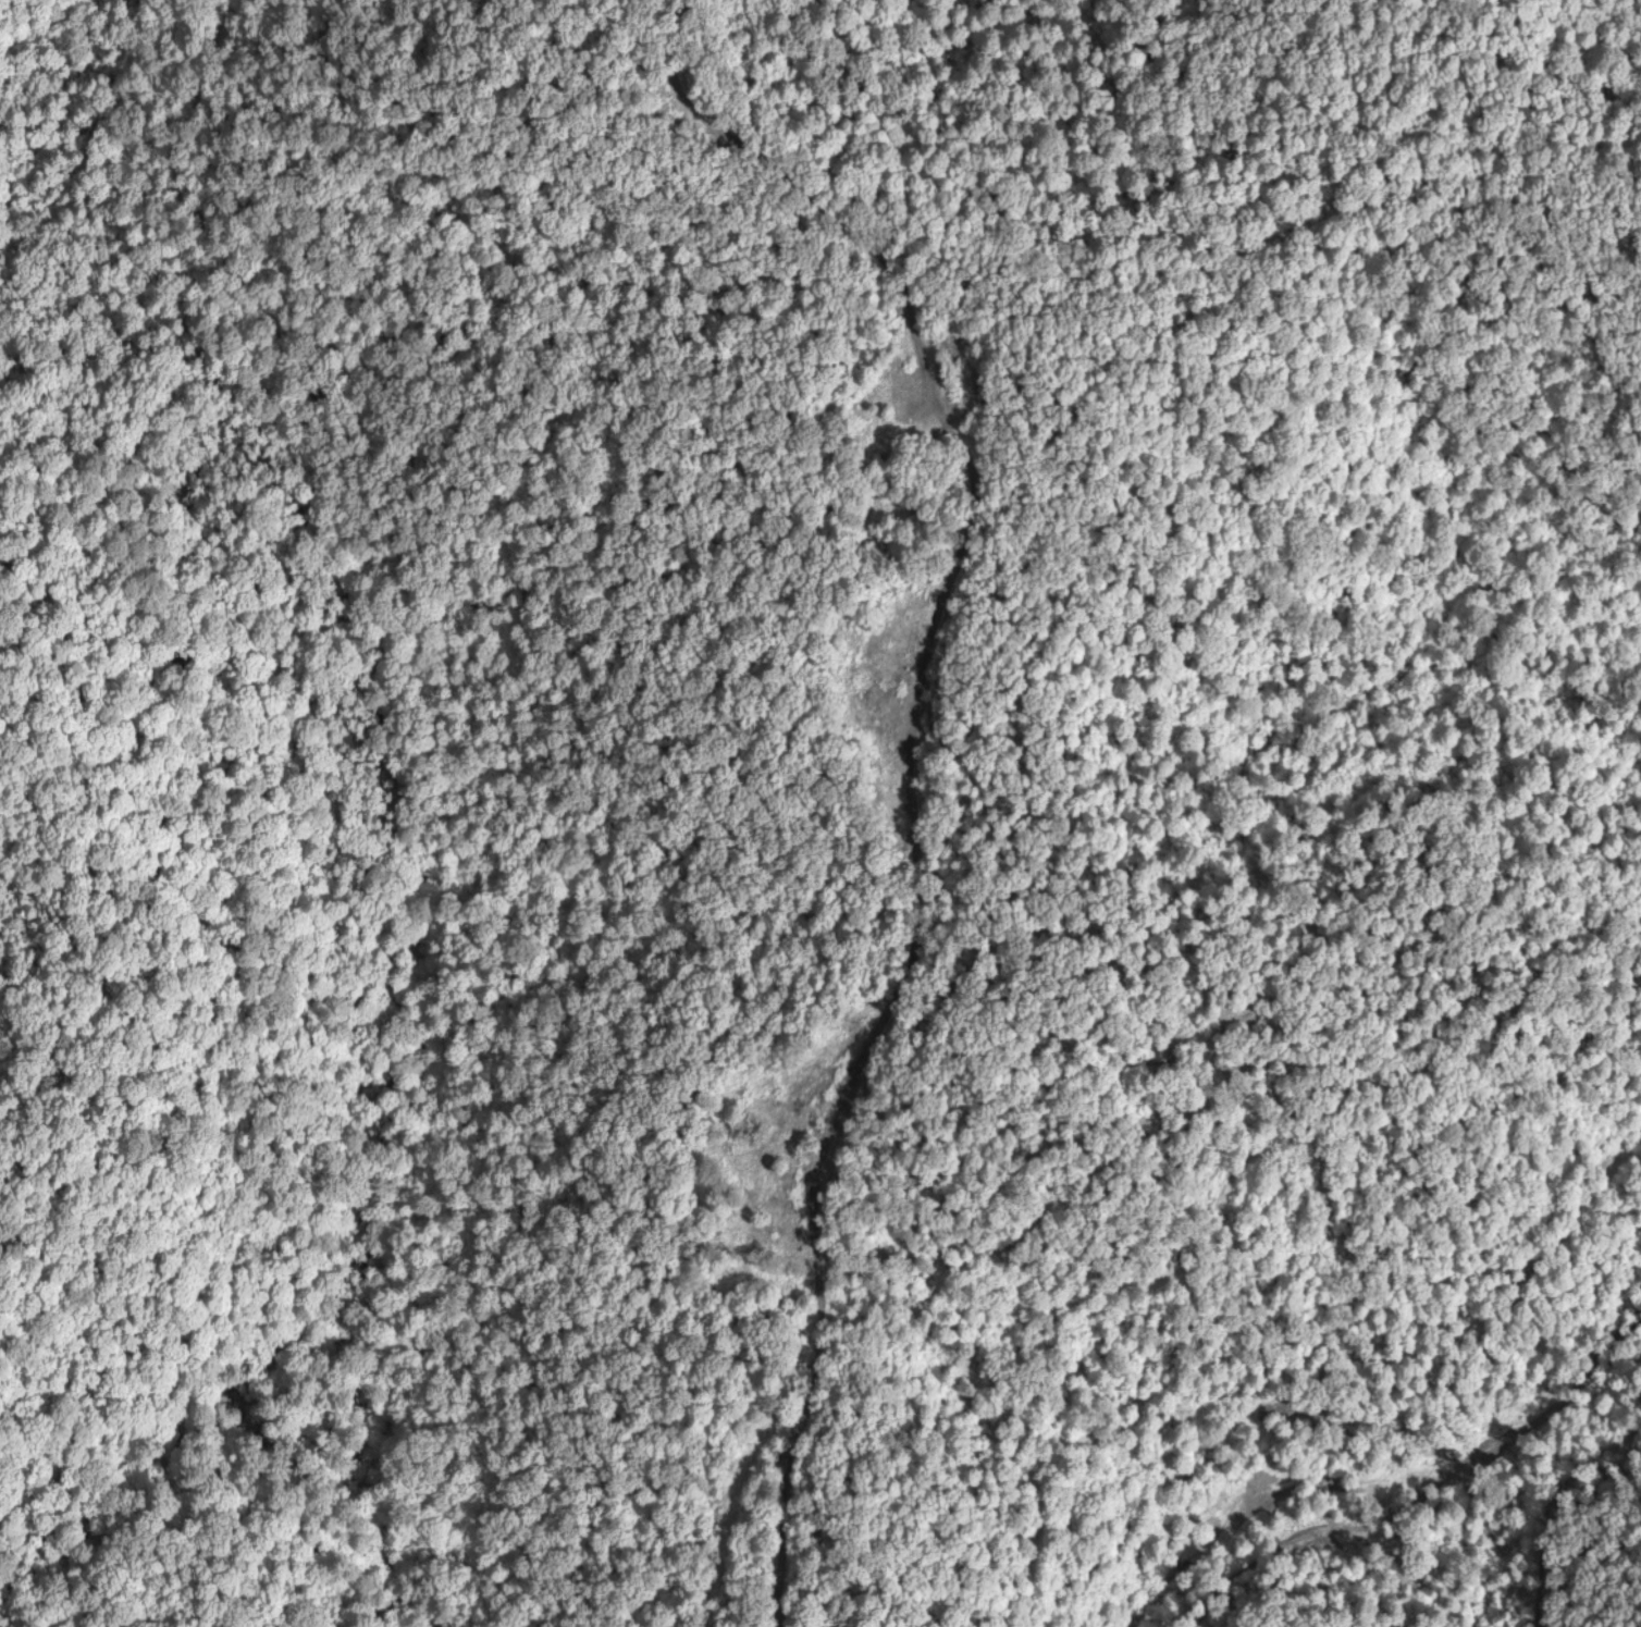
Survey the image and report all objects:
road: (971, 772)

